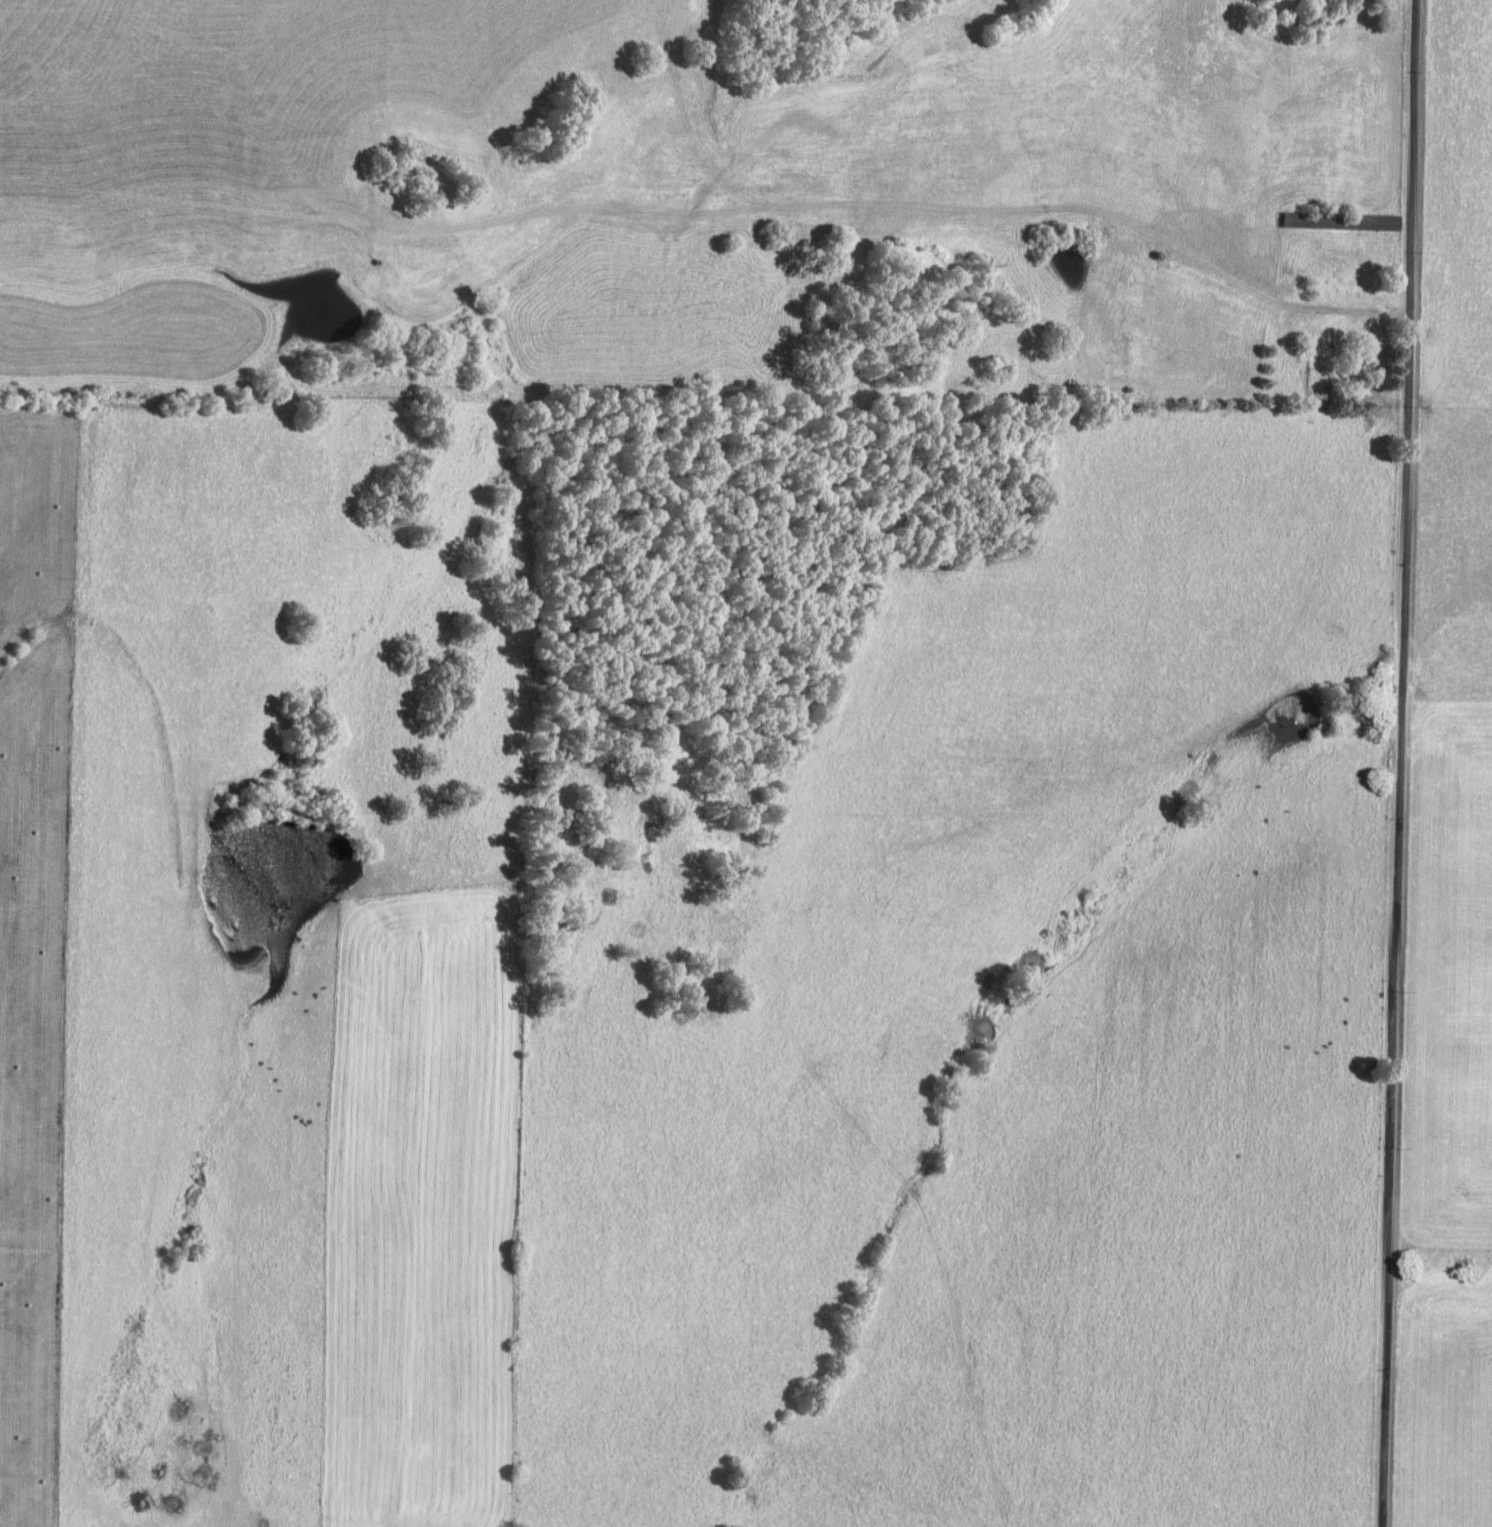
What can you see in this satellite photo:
building: (1335, 221)
road: (1398, 763)

